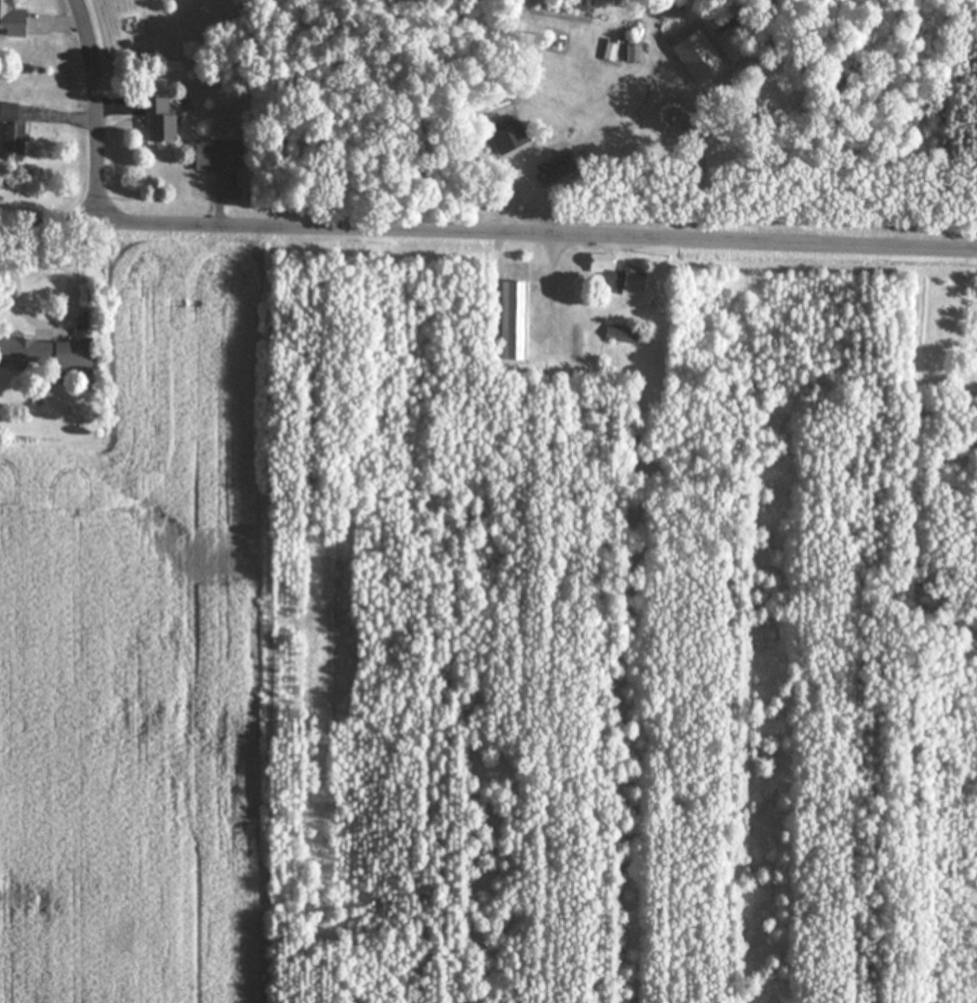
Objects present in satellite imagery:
building: (14, 18)
road: (60, 19)
building: (701, 57)
road: (115, 107)
road: (99, 109)
road: (65, 117)
building: (163, 121)
building: (14, 132)
building: (510, 136)
building: (219, 155)
building: (558, 167)
road: (515, 196)
road: (488, 231)
building: (604, 262)
building: (634, 280)
building: (514, 319)
road: (54, 325)
building: (624, 334)
building: (27, 351)
building: (76, 355)

